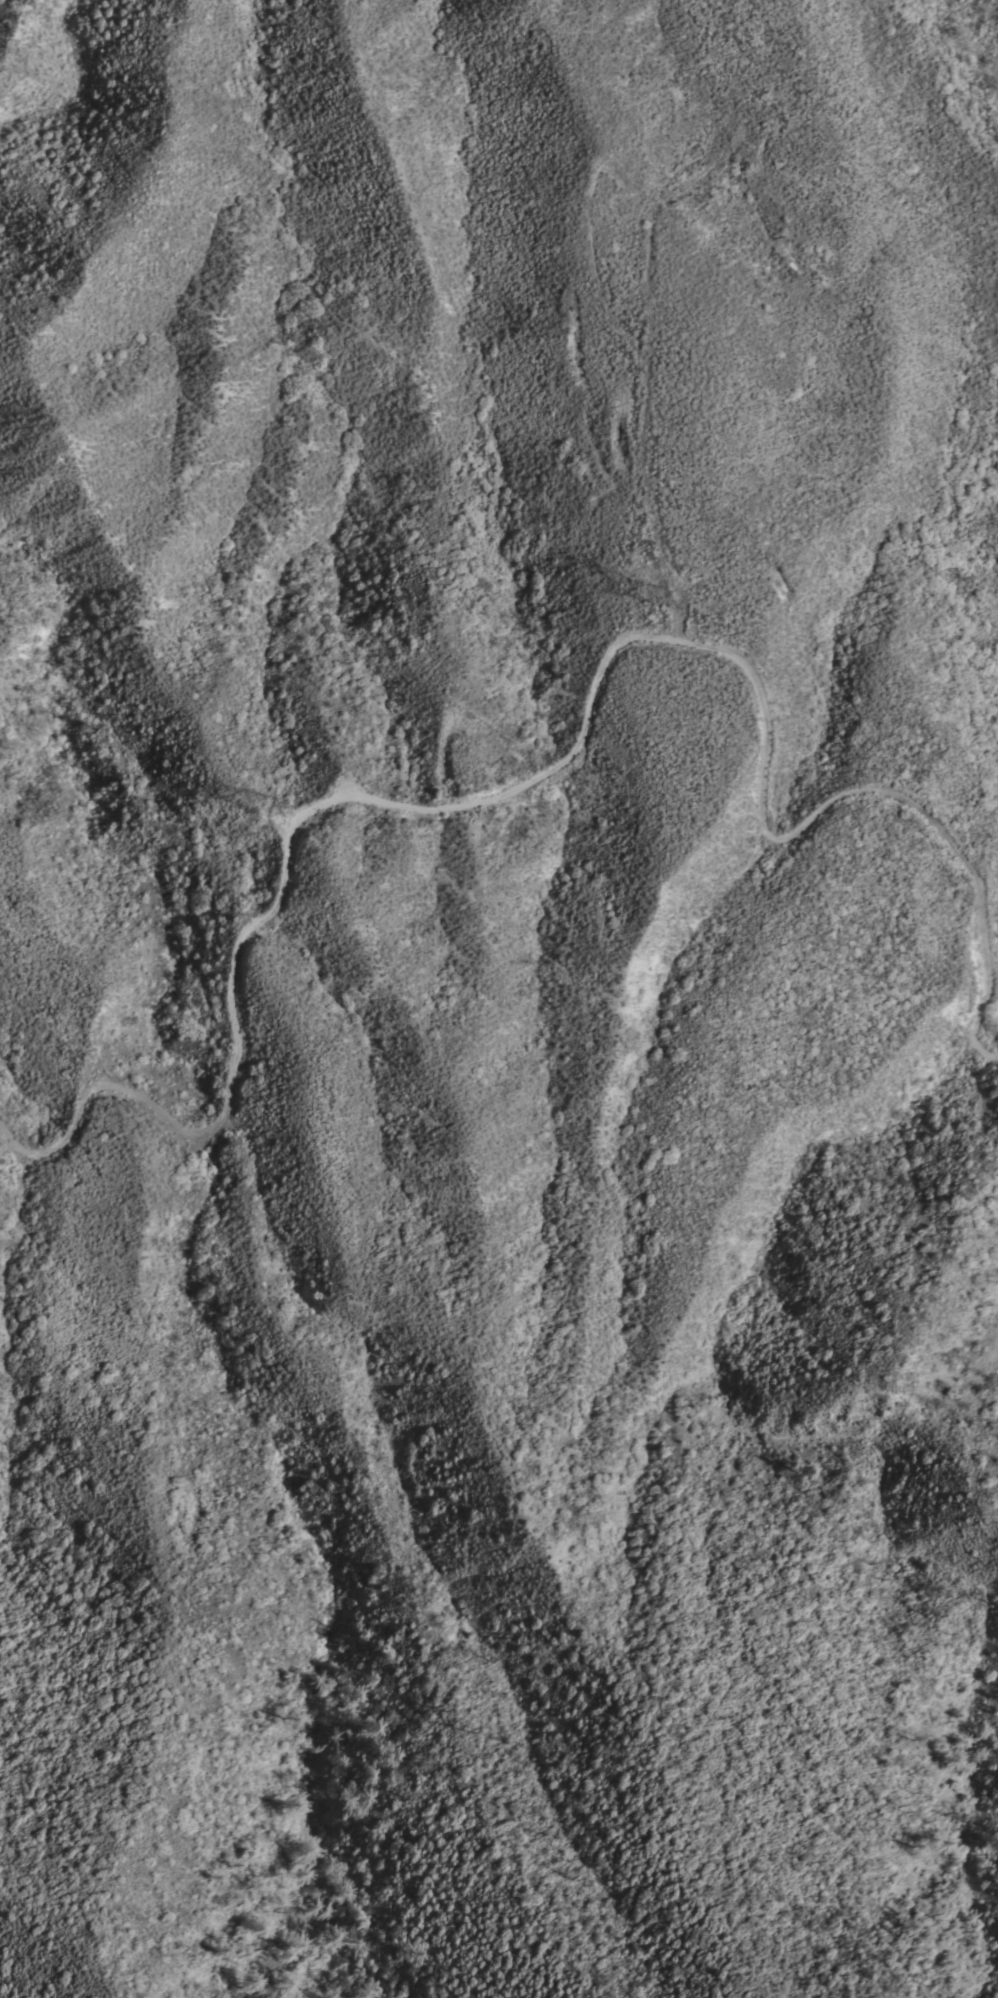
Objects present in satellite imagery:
power tower: (652, 594)
road: (564, 759)
power tower: (259, 800)

